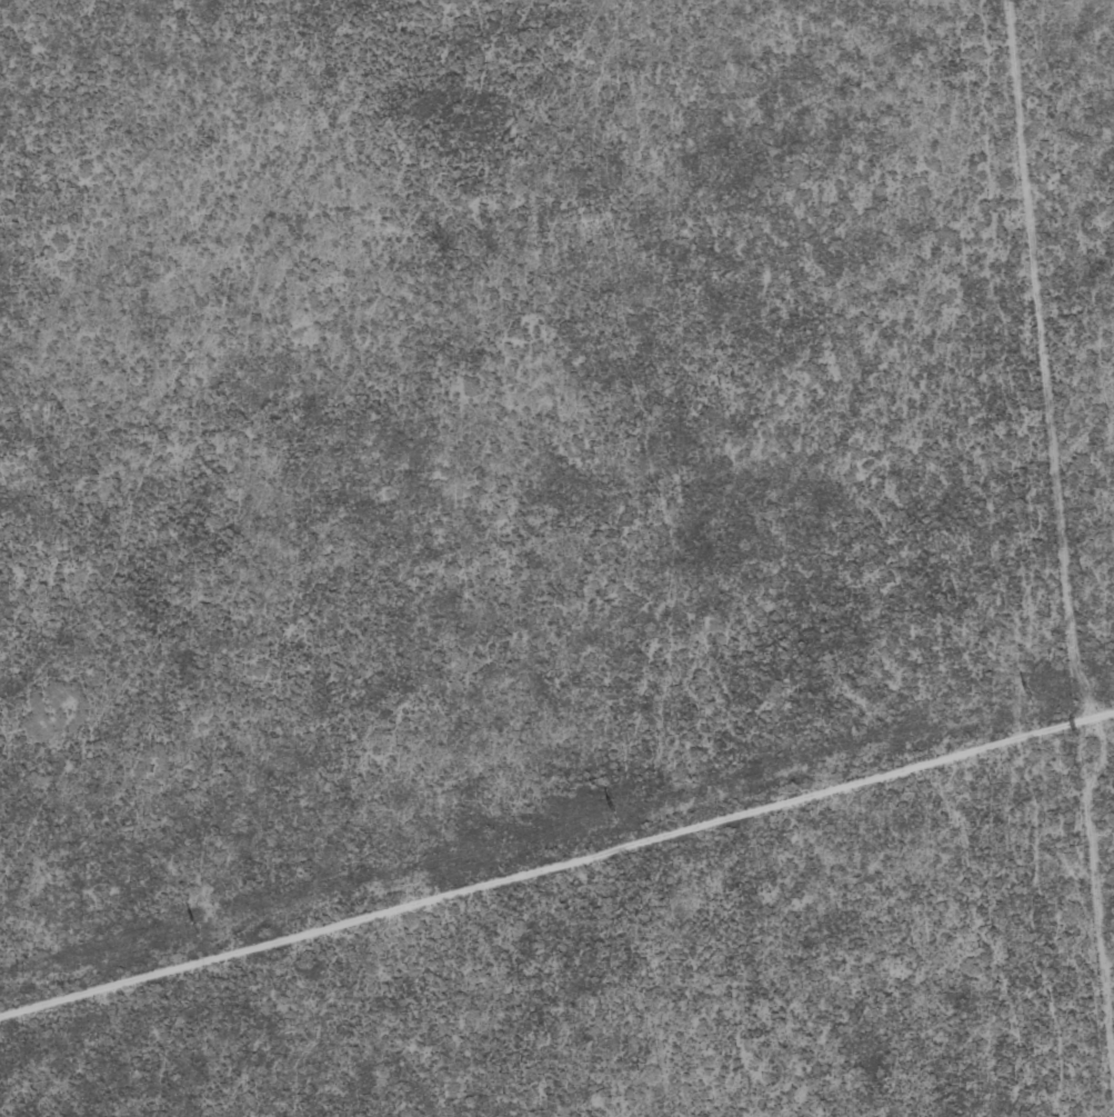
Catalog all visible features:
power tower: (1030, 701)
power tower: (612, 816)
power tower: (194, 930)

